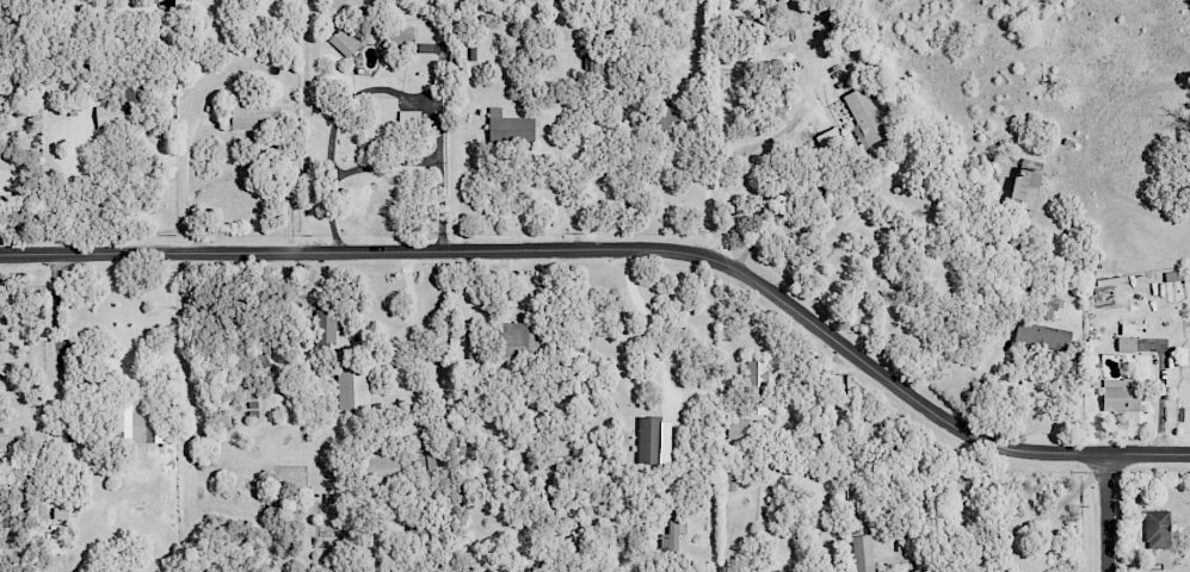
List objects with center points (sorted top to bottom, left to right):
building: (406, 30)
building: (344, 41)
building: (593, 64)
road: (381, 87)
building: (119, 110)
building: (253, 113)
building: (864, 117)
building: (667, 119)
building: (384, 122)
road: (304, 125)
building: (508, 126)
building: (827, 137)
road: (732, 155)
road: (381, 163)
road: (185, 182)
building: (1024, 188)
road: (624, 253)
building: (1177, 275)
building: (323, 323)
road: (645, 323)
building: (1042, 336)
building: (517, 340)
road: (405, 343)
building: (1126, 344)
building: (757, 386)
building: (352, 390)
building: (1120, 394)
building: (137, 423)
building: (653, 440)
building: (424, 462)
building: (380, 467)
building: (525, 473)
building: (729, 479)
building: (544, 499)
road: (1105, 514)
building: (1157, 529)
building: (672, 530)
building: (862, 553)
building: (779, 571)
building: (915, 571)

